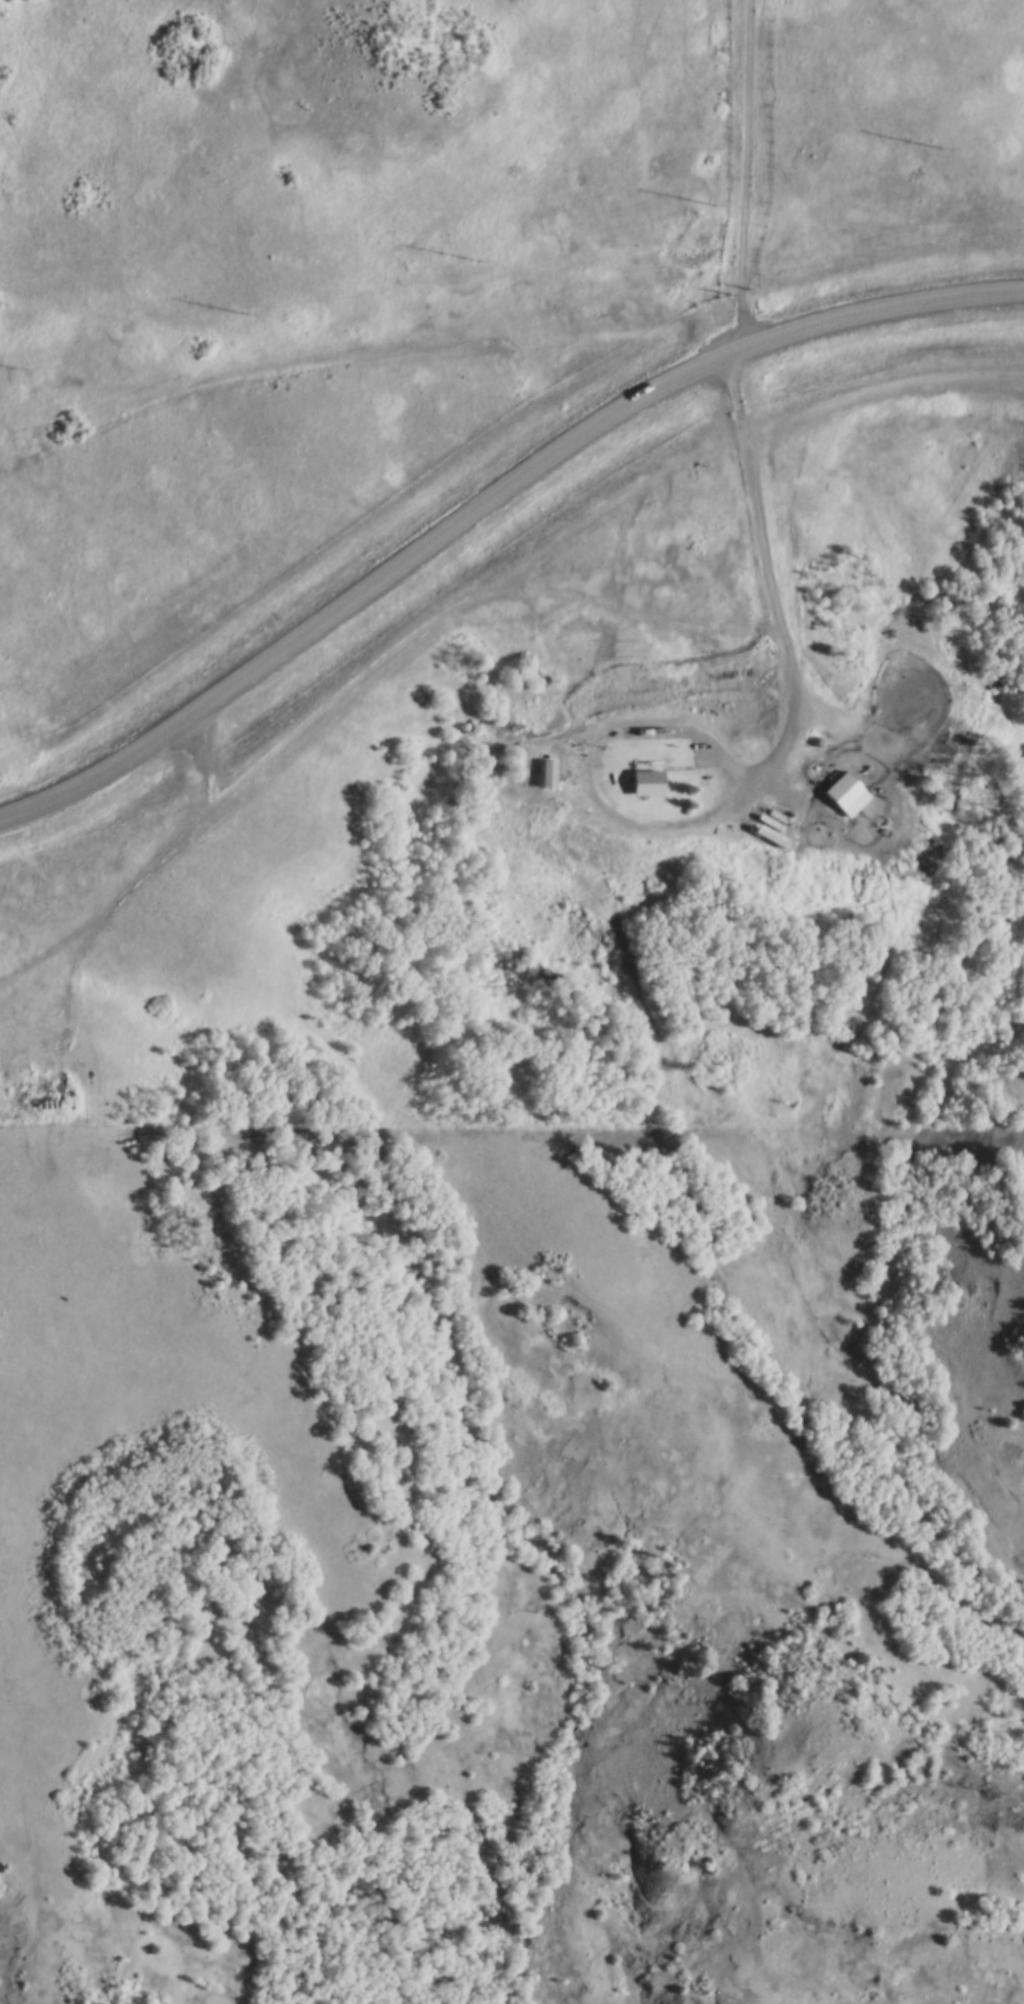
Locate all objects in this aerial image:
road: (489, 502)
building: (564, 765)
building: (547, 770)
road: (762, 772)
building: (646, 779)
building: (847, 789)
road: (154, 871)

